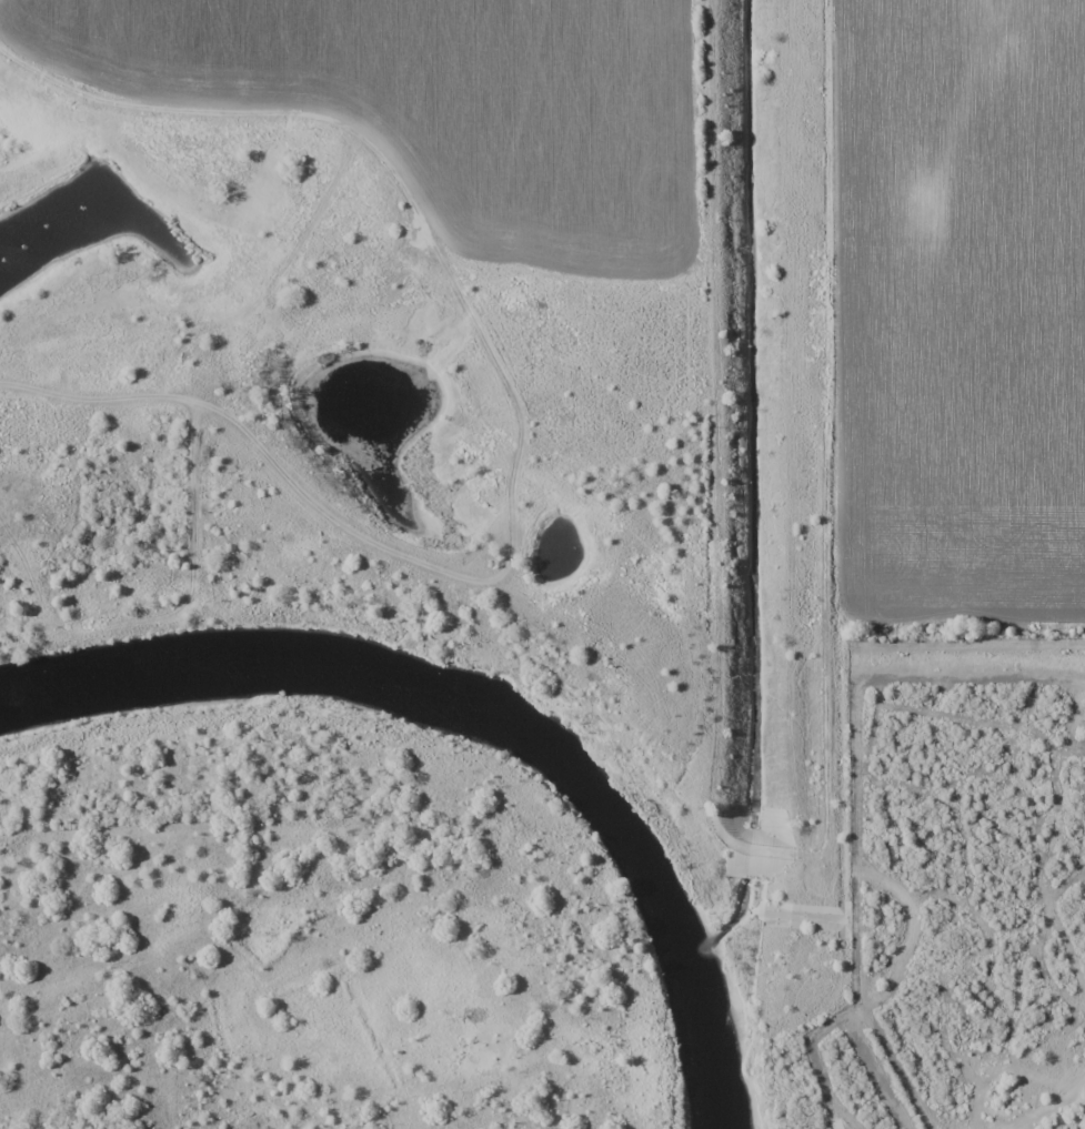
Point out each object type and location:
road: (1036, 165)

